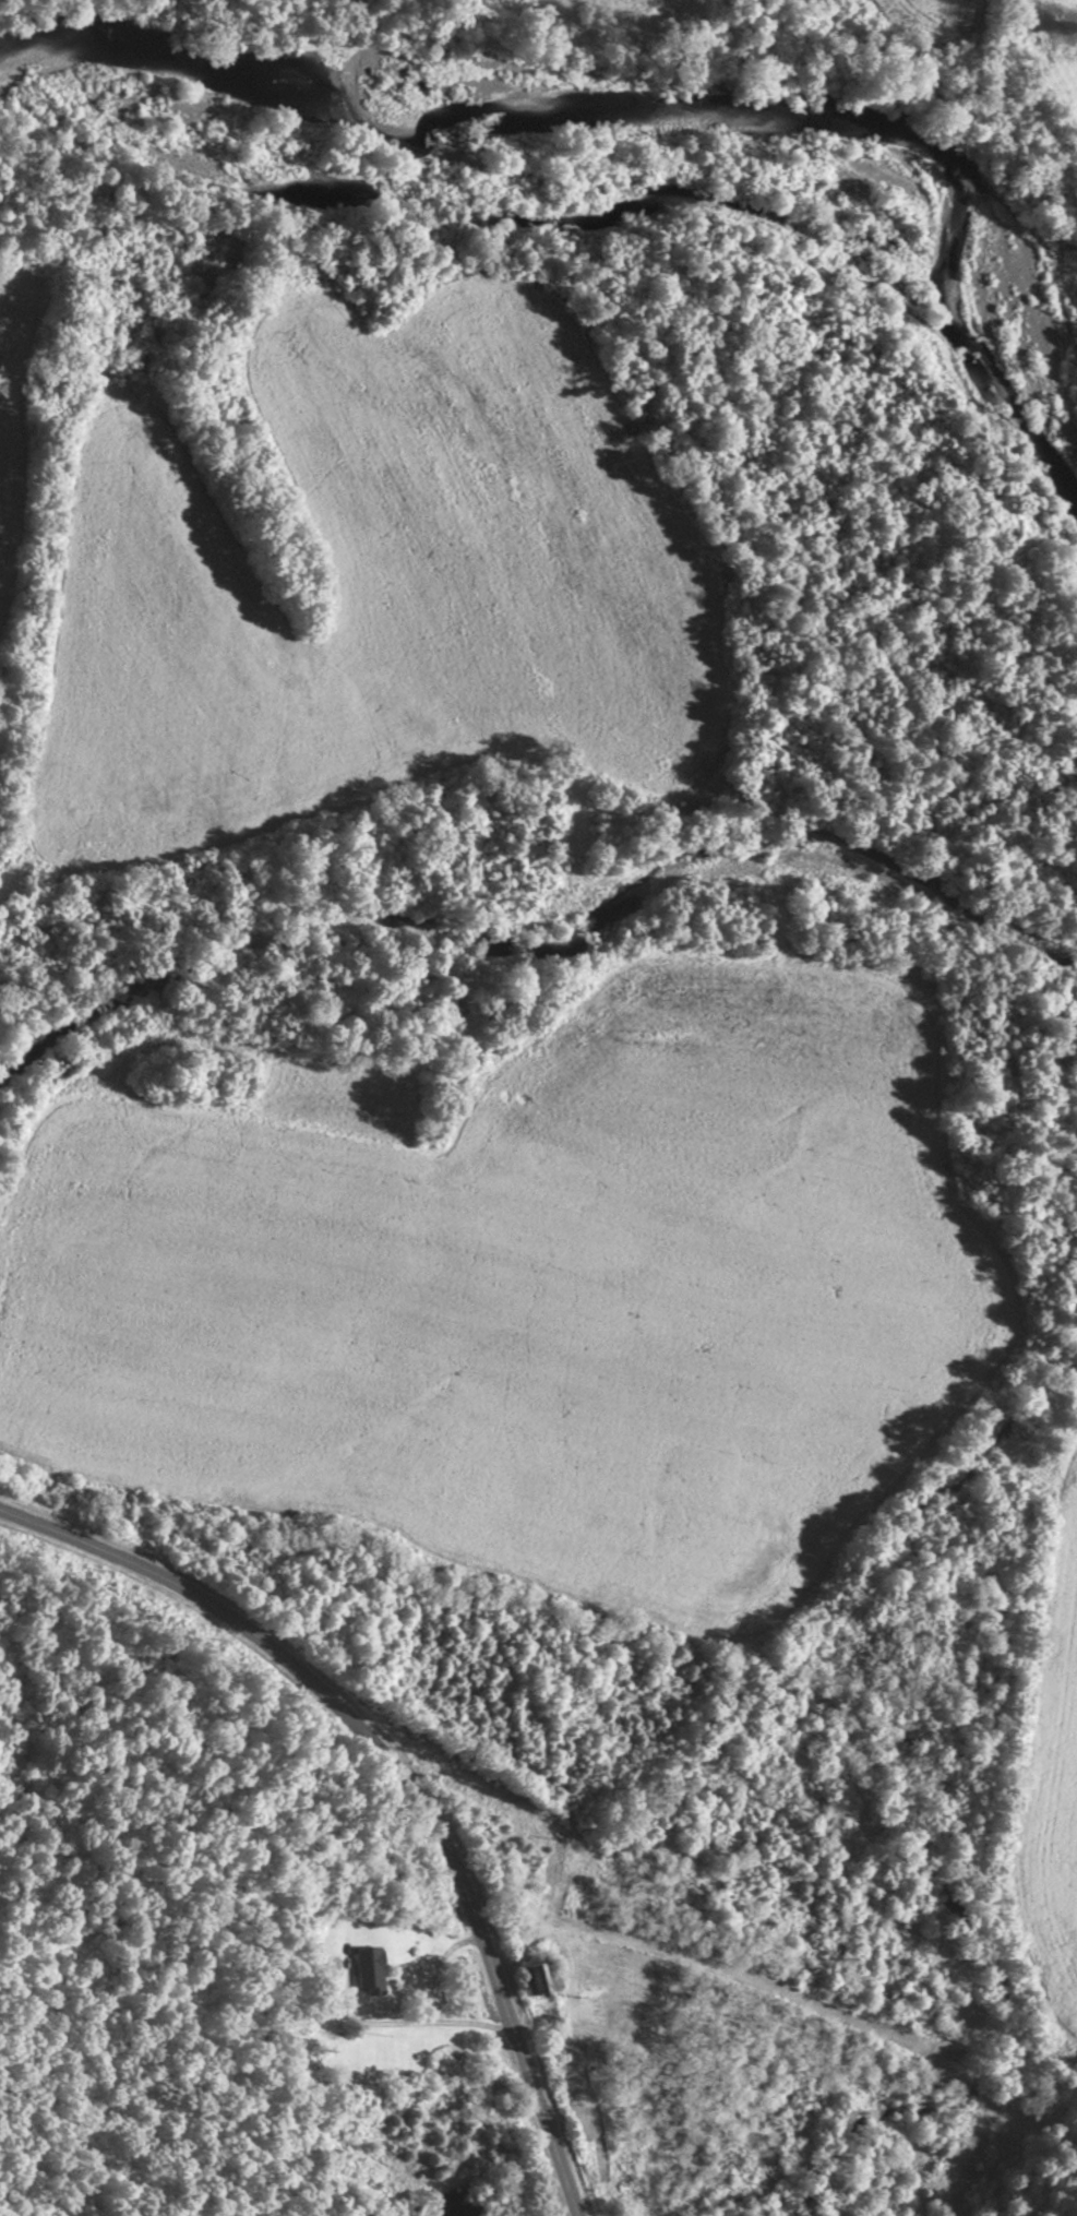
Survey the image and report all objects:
river: (631, 103)
road: (391, 1775)
building: (366, 1970)
building: (535, 1977)

